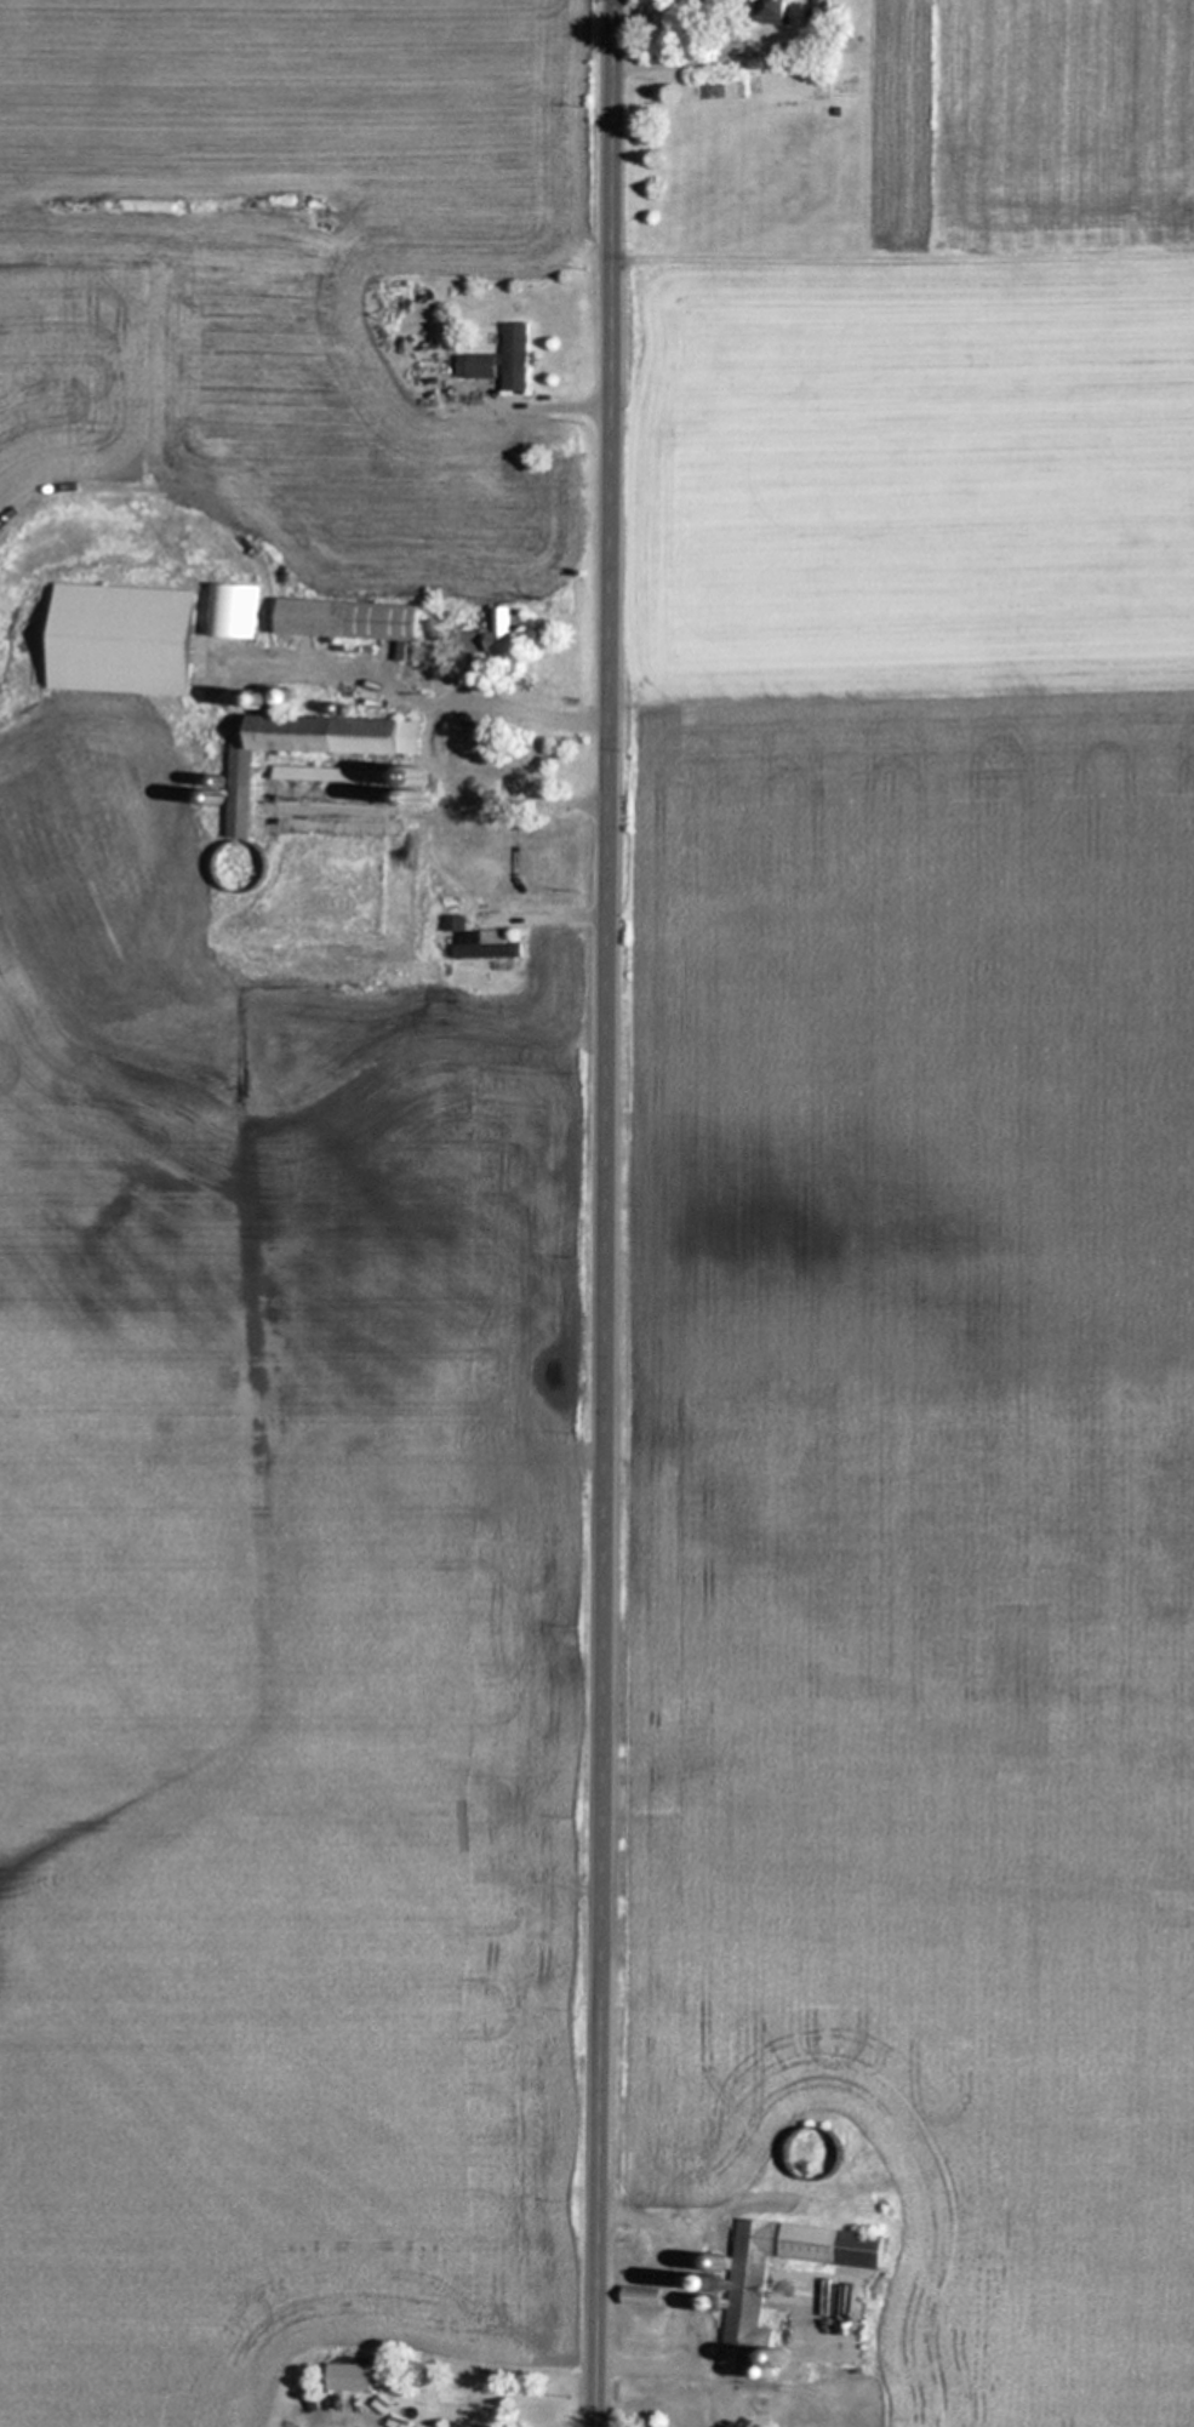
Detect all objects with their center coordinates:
building: (821, 10)
building: (769, 11)
road: (749, 48)
road: (668, 59)
building: (498, 360)
road: (544, 407)
building: (349, 621)
building: (492, 636)
building: (116, 638)
road: (345, 668)
road: (428, 738)
building: (303, 747)
building: (327, 773)
building: (407, 784)
road: (553, 915)
building: (476, 940)
road: (604, 1213)
road: (691, 2257)
building: (639, 2294)
building: (815, 2294)
building: (730, 2298)
building: (348, 2376)
road: (678, 2376)

